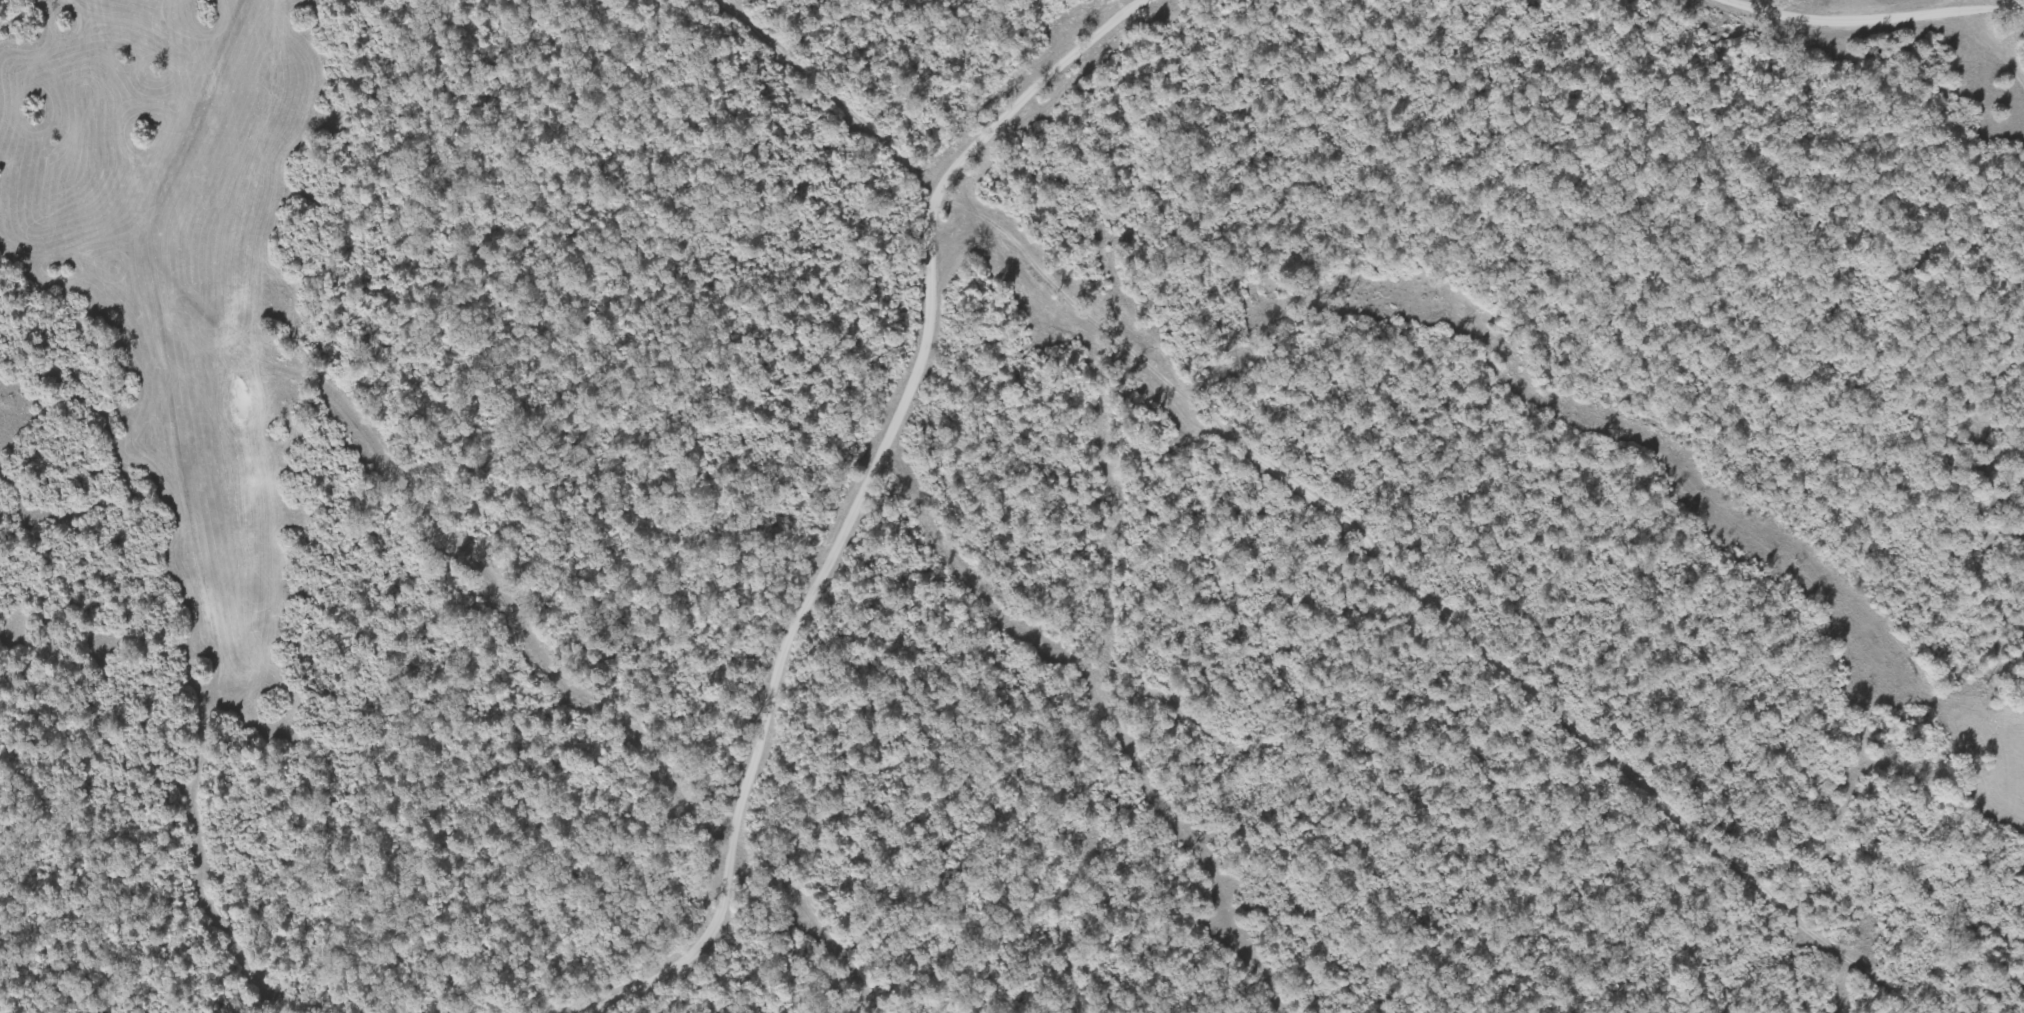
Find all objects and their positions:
road: (1834, 28)
road: (845, 507)
road: (1091, 709)

